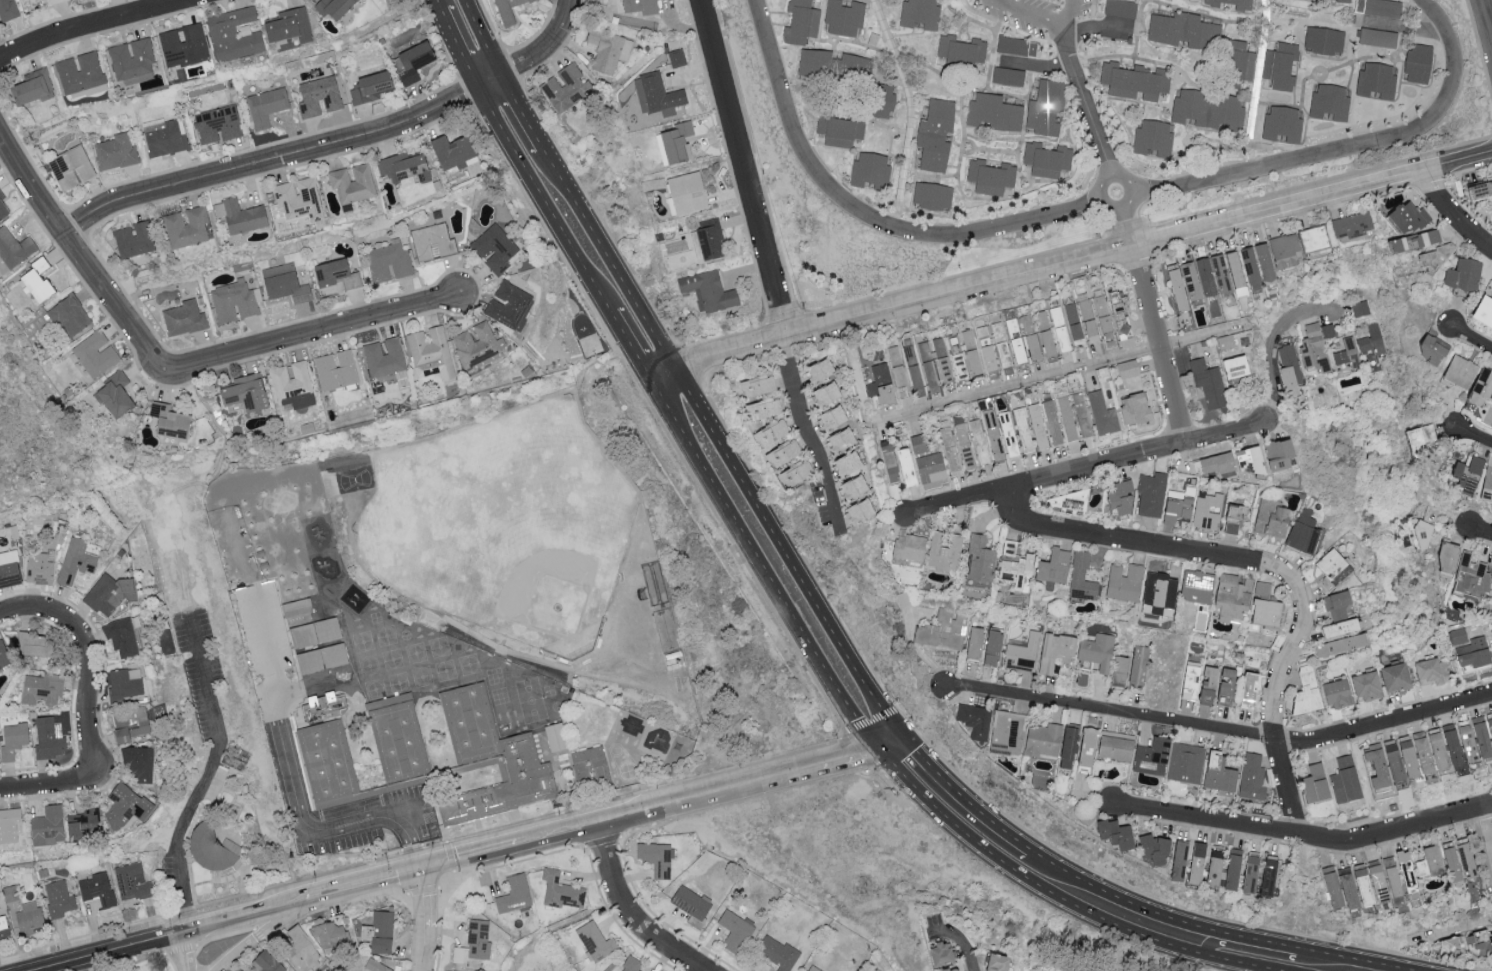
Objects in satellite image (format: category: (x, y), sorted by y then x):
building: (25, 1)
building: (1340, 1)
building: (53, 2)
road: (438, 3)
building: (1242, 5)
building: (639, 6)
building: (334, 8)
building: (1120, 8)
building: (7, 10)
building: (506, 10)
building: (919, 14)
building: (843, 17)
road: (1047, 18)
road: (974, 20)
road: (1236, 21)
building: (800, 22)
road: (94, 25)
building: (1361, 26)
road: (1484, 26)
building: (288, 27)
building: (1183, 30)
building: (233, 36)
road: (482, 36)
road: (546, 45)
building: (183, 46)
road: (458, 46)
building: (607, 49)
building: (960, 50)
building: (676, 57)
building: (413, 61)
building: (131, 62)
building: (833, 66)
building: (80, 76)
building: (1134, 80)
building: (369, 87)
building: (565, 87)
building: (32, 88)
building: (656, 94)
building: (317, 95)
road: (1230, 99)
building: (882, 100)
building: (265, 106)
building: (1045, 107)
road: (1252, 107)
building: (1208, 109)
road: (521, 111)
road: (910, 112)
building: (992, 113)
building: (216, 124)
building: (839, 130)
building: (934, 134)
building: (163, 136)
road: (1097, 136)
building: (1152, 138)
building: (675, 142)
building: (115, 151)
building: (452, 151)
road: (283, 159)
building: (1045, 159)
building: (403, 166)
building: (70, 167)
road: (744, 168)
building: (869, 171)
building: (989, 176)
building: (351, 182)
building: (1481, 191)
building: (687, 192)
building: (931, 196)
building: (296, 198)
road: (543, 198)
road: (1095, 206)
building: (2, 208)
road: (1454, 213)
building: (239, 216)
building: (1405, 217)
building: (1351, 224)
building: (186, 226)
building: (708, 237)
building: (1427, 237)
building: (134, 239)
building: (432, 241)
building: (13, 248)
road: (72, 248)
building: (494, 248)
building: (1284, 250)
road: (1081, 260)
building: (387, 261)
building: (1256, 265)
building: (1234, 271)
building: (335, 274)
building: (1220, 274)
building: (1463, 274)
building: (1204, 277)
building: (36, 280)
building: (1190, 280)
building: (283, 283)
building: (1491, 283)
building: (1176, 287)
building: (707, 290)
building: (232, 301)
building: (509, 305)
building: (1360, 308)
building: (1483, 311)
building: (1117, 312)
building: (68, 315)
building: (183, 317)
building: (1087, 319)
building: (1103, 321)
building: (1072, 323)
building: (1057, 329)
building: (1042, 333)
road: (305, 335)
road: (1203, 335)
road: (1472, 338)
building: (1020, 339)
building: (1372, 339)
building: (1224, 341)
building: (477, 346)
road: (631, 346)
road: (1158, 346)
road: (1272, 346)
building: (983, 348)
building: (999, 348)
building: (1313, 349)
building: (958, 350)
building: (1430, 350)
building: (430, 352)
building: (1347, 352)
building: (95, 353)
building: (384, 357)
building: (940, 361)
building: (971, 363)
building: (918, 365)
building: (1233, 367)
building: (1127, 368)
building: (1288, 368)
building: (335, 369)
building: (820, 370)
building: (896, 371)
building: (1459, 371)
road: (661, 374)
building: (401, 378)
road: (1019, 382)
building: (1208, 383)
building: (879, 385)
building: (291, 386)
building: (757, 386)
building: (1481, 388)
building: (244, 392)
building: (826, 393)
building: (113, 395)
building: (762, 408)
park: (40, 409)
building: (1134, 409)
building: (1101, 413)
building: (1080, 414)
building: (832, 417)
building: (1065, 418)
building: (168, 420)
building: (1050, 422)
building: (1035, 426)
building: (1021, 430)
building: (769, 432)
road: (808, 432)
building: (991, 434)
building: (1006, 434)
building: (1418, 438)
road: (1475, 439)
building: (840, 440)
building: (977, 441)
building: (917, 443)
road: (720, 445)
building: (963, 445)
building: (948, 451)
building: (782, 452)
building: (1277, 454)
building: (1247, 460)
building: (846, 463)
building: (1215, 463)
building: (929, 467)
road: (1087, 470)
building: (795, 473)
building: (1466, 474)
building: (1486, 485)
building: (853, 487)
building: (1151, 494)
building: (1119, 497)
building: (1064, 500)
building: (858, 511)
building: (1207, 512)
building: (1234, 518)
building: (1270, 519)
park: (506, 529)
building: (1302, 532)
road: (1482, 533)
building: (1420, 535)
building: (908, 547)
building: (944, 552)
building: (1445, 559)
building: (75, 560)
building: (979, 560)
road: (763, 565)
building: (1053, 566)
building: (40, 567)
building: (1333, 567)
building: (8, 568)
building: (1015, 569)
road: (1277, 570)
building: (1081, 577)
building: (1470, 577)
building: (1124, 582)
building: (1197, 586)
building: (1262, 589)
building: (1159, 590)
building: (106, 593)
building: (1231, 598)
building: (296, 607)
building: (1265, 612)
building: (1340, 627)
building: (942, 630)
building: (120, 635)
building: (974, 642)
building: (34, 644)
building: (1339, 645)
building: (992, 647)
building: (1469, 649)
building: (317, 650)
building: (1054, 650)
building: (1095, 652)
building: (4, 653)
building: (1023, 653)
road: (90, 655)
building: (1138, 665)
building: (1119, 671)
building: (1430, 671)
building: (1394, 677)
building: (1188, 680)
building: (124, 682)
building: (1207, 685)
building: (1225, 686)
building: (1248, 686)
building: (1365, 686)
building: (40, 688)
building: (1305, 692)
building: (1336, 694)
building: (974, 720)
building: (129, 724)
road: (1221, 729)
building: (1490, 730)
building: (1007, 733)
building: (48, 736)
building: (554, 737)
building: (1480, 737)
building: (12, 738)
building: (1043, 739)
road: (890, 744)
building: (1466, 744)
building: (1114, 745)
building: (1451, 746)
building: (1086, 747)
building: (1067, 748)
building: (1436, 749)
building: (1421, 752)
building: (496, 755)
building: (1151, 757)
building: (1406, 757)
road: (834, 760)
building: (138, 761)
building: (1392, 761)
building: (1185, 763)
building: (1375, 766)
building: (589, 773)
building: (1218, 773)
road: (206, 774)
building: (1251, 776)
building: (1344, 780)
road: (300, 783)
road: (49, 784)
building: (1314, 784)
road: (694, 799)
building: (124, 805)
parking lot: (384, 807)
road: (984, 816)
road: (1207, 822)
building: (8, 824)
building: (47, 825)
road: (1396, 831)
building: (1114, 834)
road: (558, 837)
road: (1485, 838)
building: (209, 849)
building: (1153, 850)
building: (655, 857)
building: (1465, 858)
road: (474, 859)
building: (1428, 860)
building: (1177, 861)
building: (1450, 862)
building: (1195, 864)
building: (1213, 867)
building: (1404, 867)
building: (1231, 870)
building: (1249, 873)
road: (418, 874)
building: (1267, 875)
building: (1391, 875)
building: (132, 880)
building: (1376, 881)
building: (1330, 885)
building: (1361, 886)
building: (98, 888)
building: (1347, 889)
road: (356, 891)
building: (560, 891)
building: (514, 895)
building: (58, 898)
road: (1062, 898)
building: (690, 901)
road: (1144, 908)
road: (631, 913)
building: (28, 917)
road: (242, 920)
road: (428, 921)
building: (3, 927)
road: (1452, 928)
building: (734, 930)
building: (383, 932)
building: (331, 937)
road: (255, 938)
road: (1255, 939)
building: (478, 940)
road: (1210, 941)
building: (595, 942)
building: (1476, 942)
building: (1450, 943)
road: (961, 944)
building: (301, 952)
building: (777, 952)
building: (939, 952)
road: (112, 954)
road: (181, 954)
building: (458, 956)
road: (1355, 959)
building: (994, 961)
building: (268, 963)
building: (630, 964)
building: (376, 966)
building: (812, 968)
building: (948, 969)
building: (238, 970)

